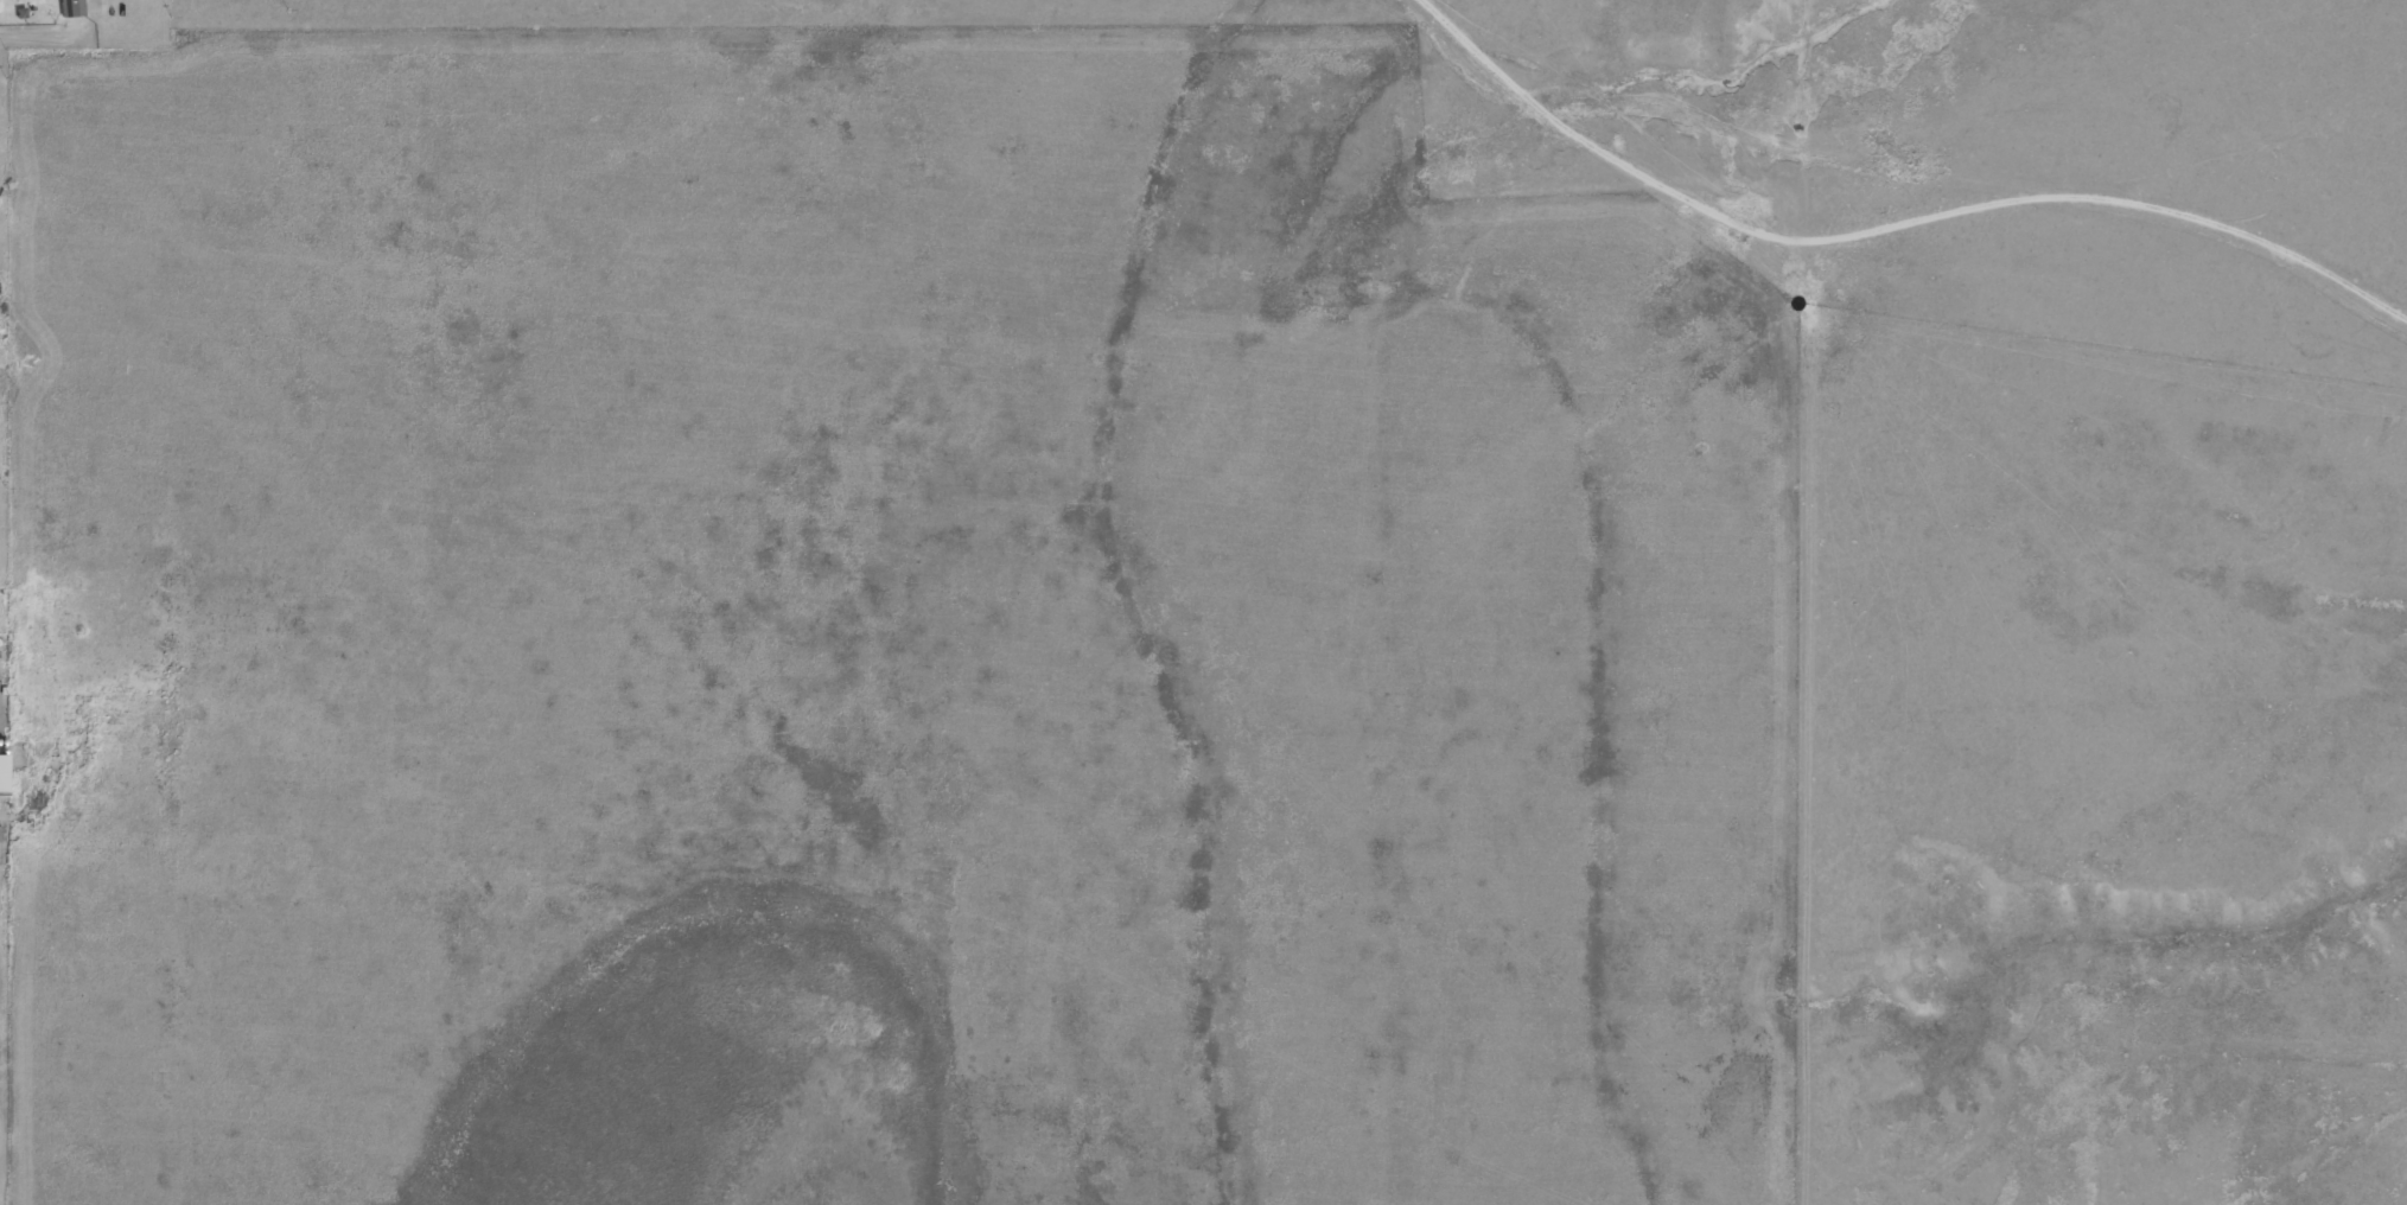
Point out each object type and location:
building: (4, 773)

